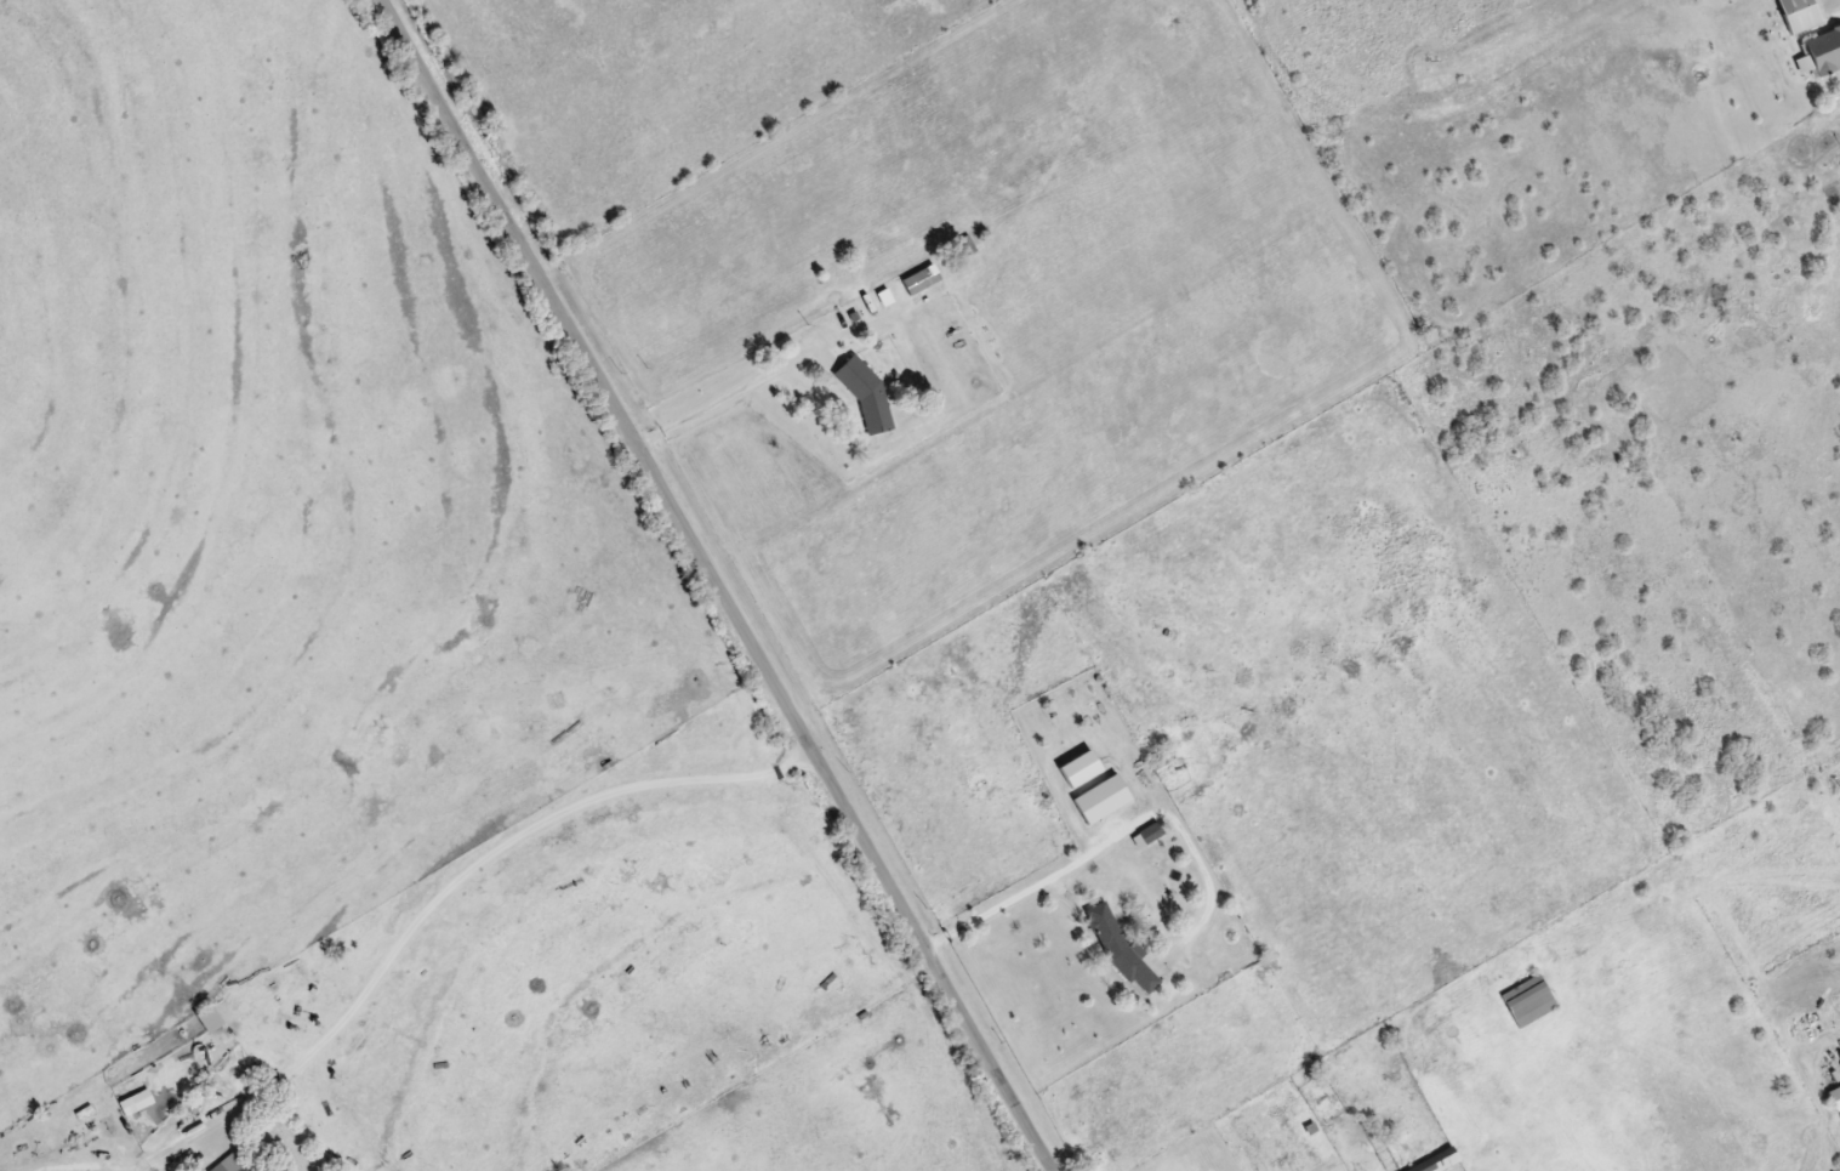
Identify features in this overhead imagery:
building: (1799, 13)
building: (1819, 51)
building: (921, 279)
road: (717, 589)
building: (1101, 797)
building: (1120, 948)
building: (1528, 1000)
building: (210, 1017)
building: (1835, 1096)
building: (136, 1101)
building: (1436, 1161)
building: (230, 1164)

